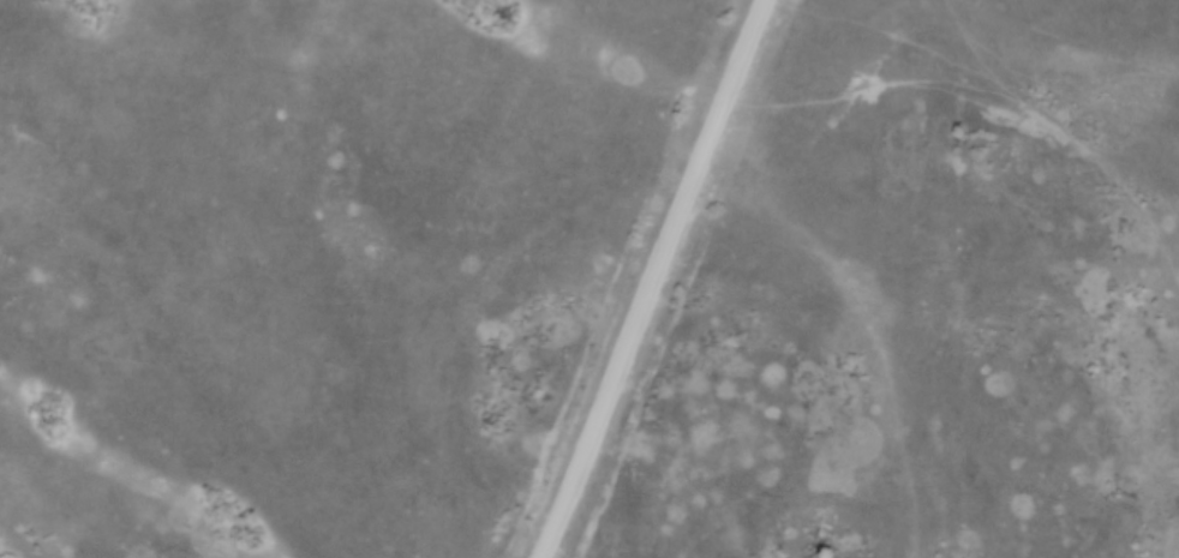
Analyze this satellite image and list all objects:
road: (656, 278)

